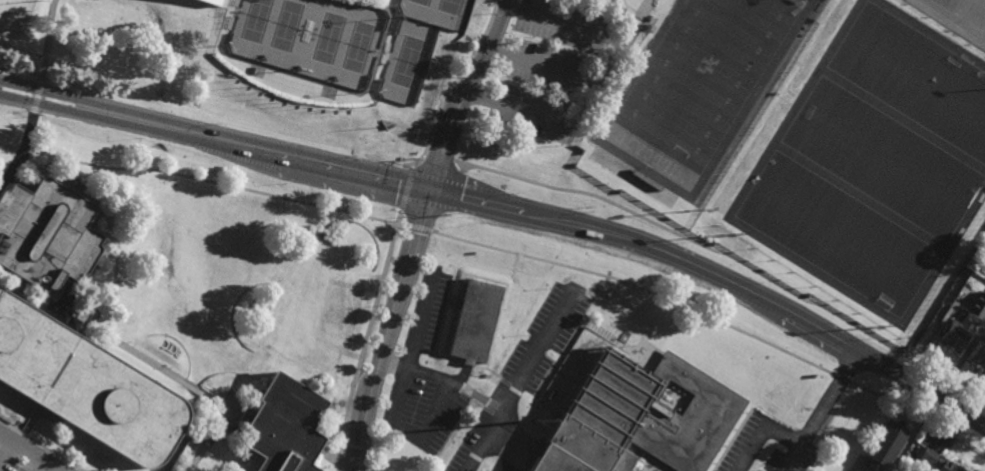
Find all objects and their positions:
building: (212, 2)
park: (421, 2)
road: (380, 3)
park: (449, 6)
road: (958, 15)
park: (14, 16)
parking lot: (958, 17)
park: (255, 20)
park: (286, 26)
park: (328, 38)
park: (358, 46)
road: (541, 59)
park: (408, 61)
parking lot: (553, 66)
road: (598, 71)
road: (20, 72)
park: (915, 77)
park: (699, 82)
road: (452, 83)
road: (327, 86)
road: (35, 97)
park: (883, 158)
road: (439, 162)
road: (406, 188)
traffic signals: (431, 188)
road: (457, 193)
road: (96, 229)
road: (417, 231)
road: (424, 231)
park: (838, 233)
building: (47, 235)
road: (732, 255)
building: (982, 269)
road: (489, 280)
building: (977, 305)
road: (442, 317)
building: (474, 320)
building: (956, 332)
road: (365, 338)
road: (114, 343)
building: (978, 354)
road: (444, 378)
road: (841, 379)
road: (519, 383)
building: (85, 384)
road: (1, 392)
road: (15, 397)
road: (398, 397)
road: (937, 397)
road: (39, 410)
road: (821, 410)
road: (919, 414)
road: (24, 418)
building: (639, 419)
building: (283, 426)
road: (761, 432)
road: (14, 436)
building: (887, 439)
road: (210, 441)
road: (732, 441)
road: (41, 446)
road: (6, 452)
road: (29, 452)
road: (177, 453)
parking lot: (26, 455)
building: (935, 461)
road: (42, 466)
building: (877, 469)

